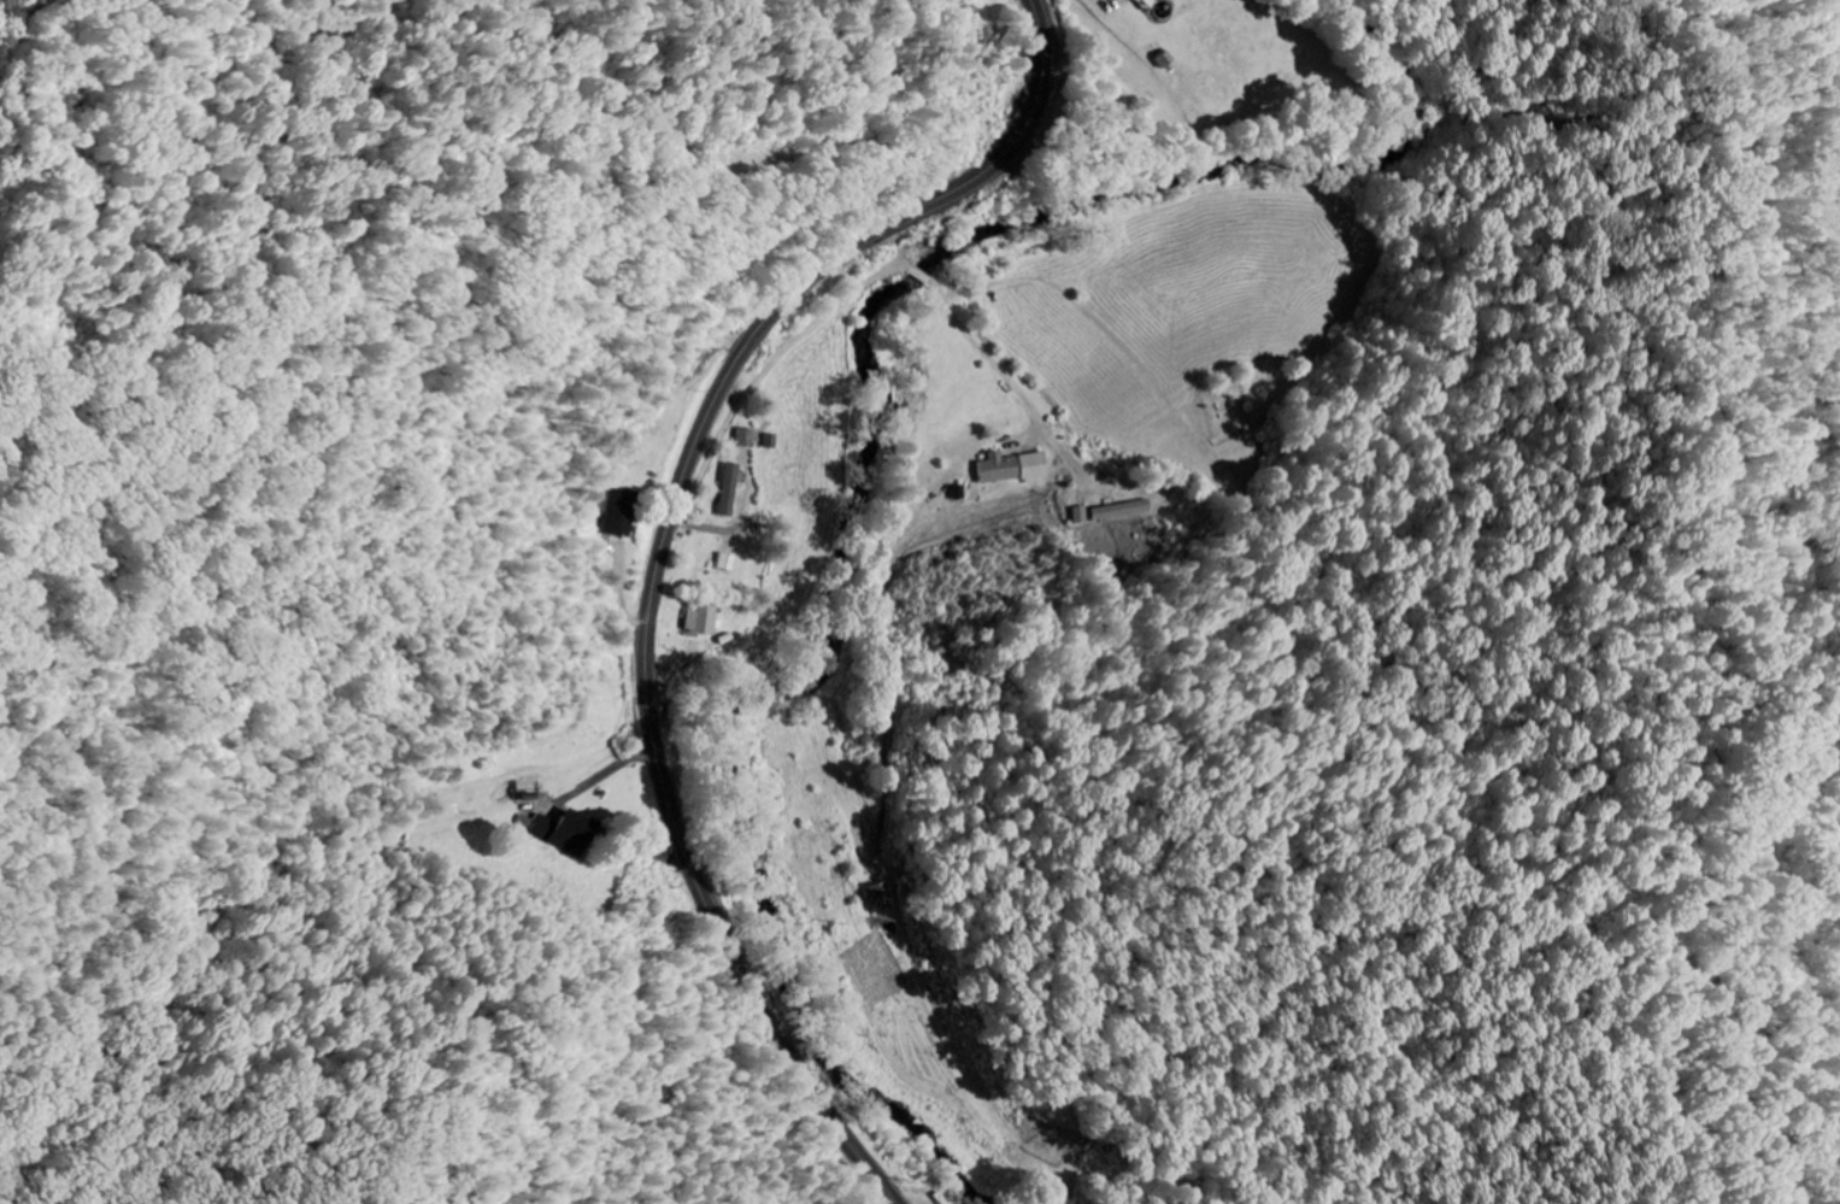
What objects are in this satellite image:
building: (1135, 1)
building: (1158, 58)
road: (907, 259)
building: (1010, 468)
building: (730, 491)
building: (1121, 511)
building: (617, 512)
building: (1081, 516)
road: (662, 554)
building: (724, 563)
building: (699, 618)
road: (646, 753)
building: (528, 824)
building: (564, 832)
building: (878, 897)

